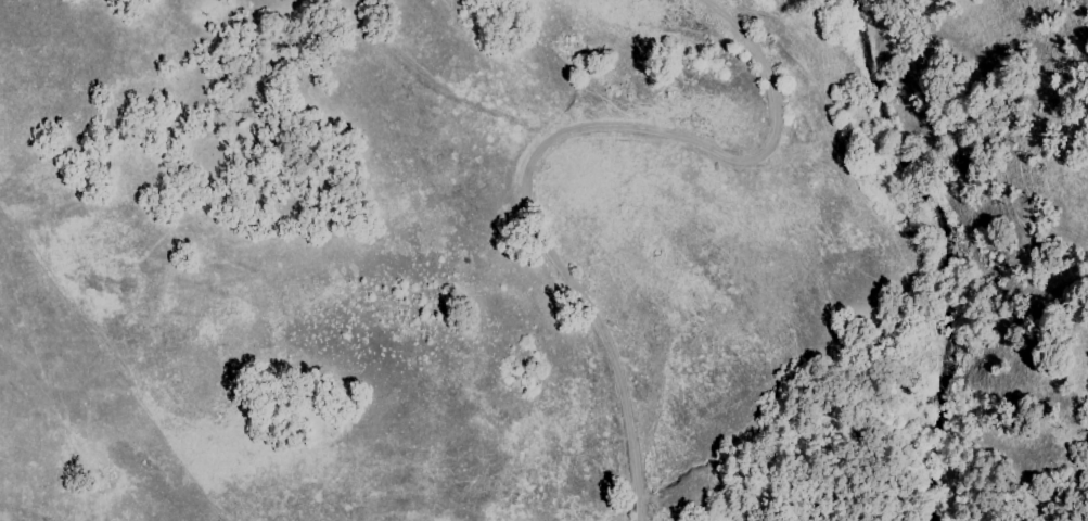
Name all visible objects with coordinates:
road: (546, 144)

